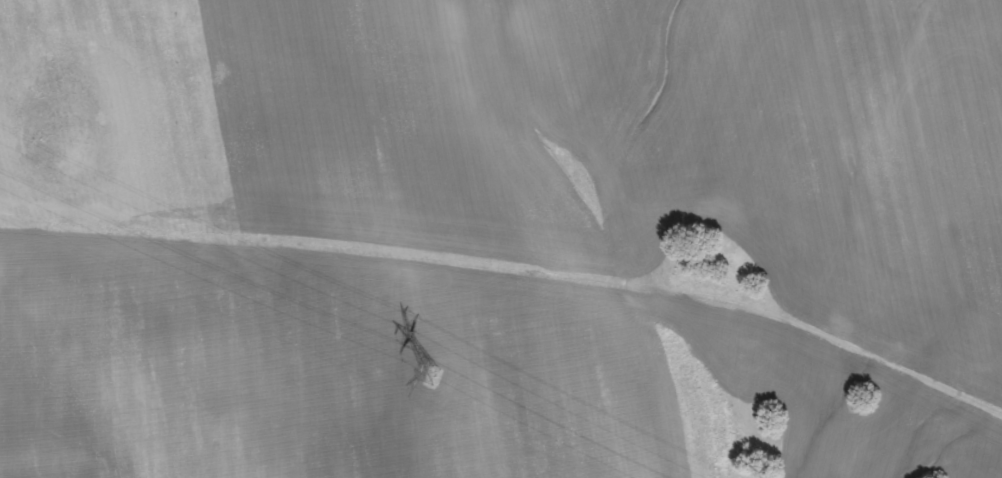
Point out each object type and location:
power tower: (426, 375)

